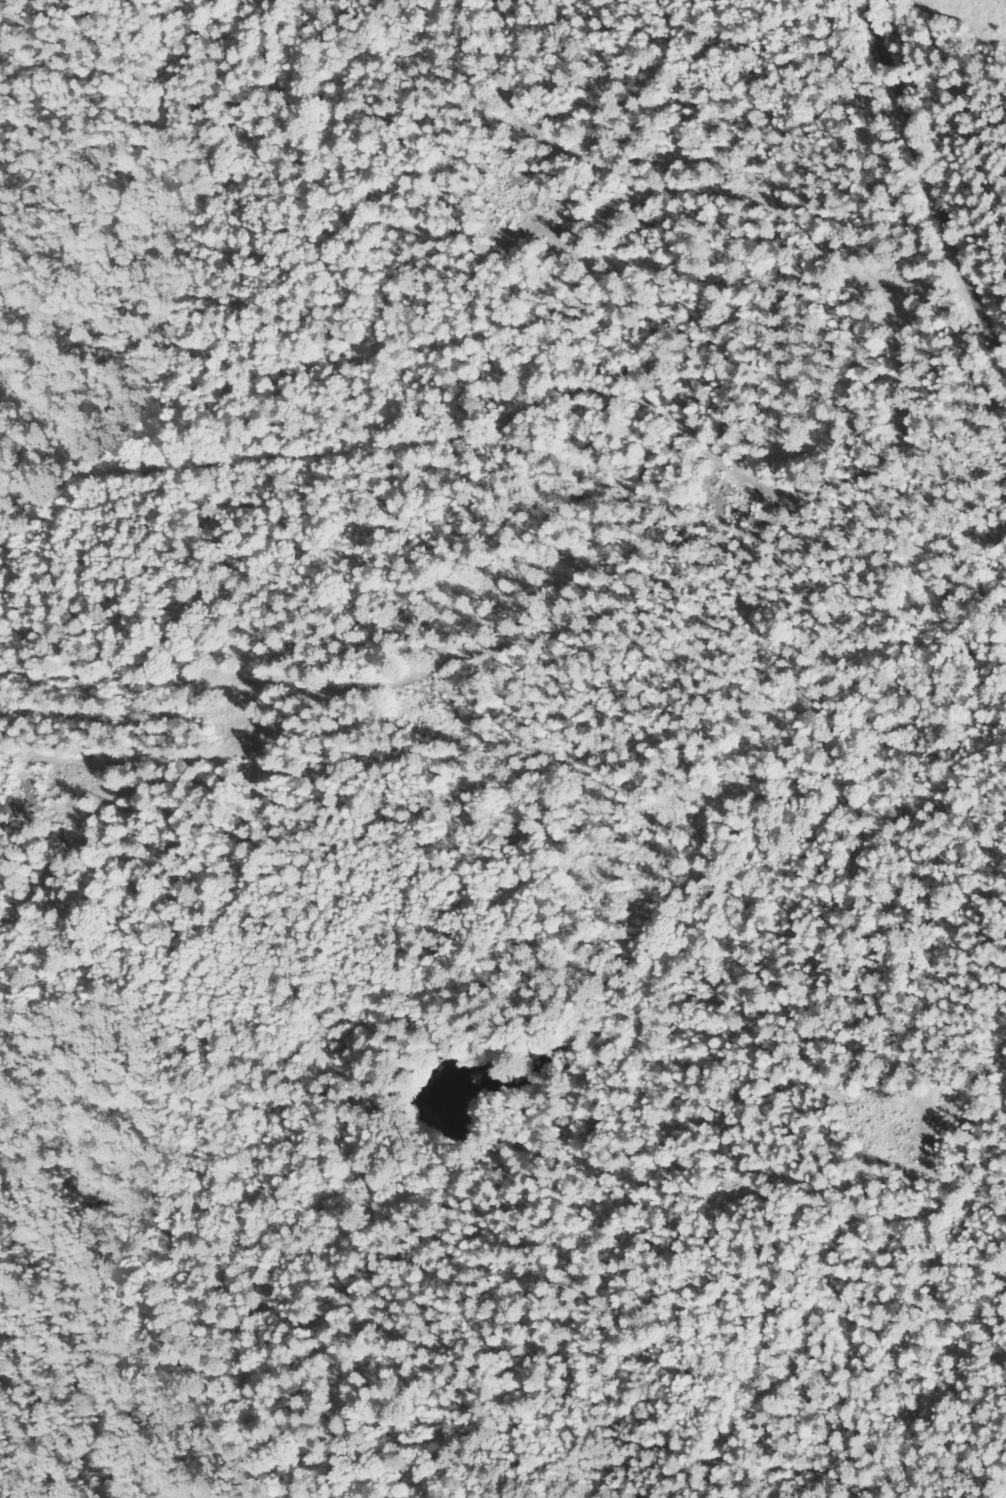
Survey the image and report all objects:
road: (921, 203)

